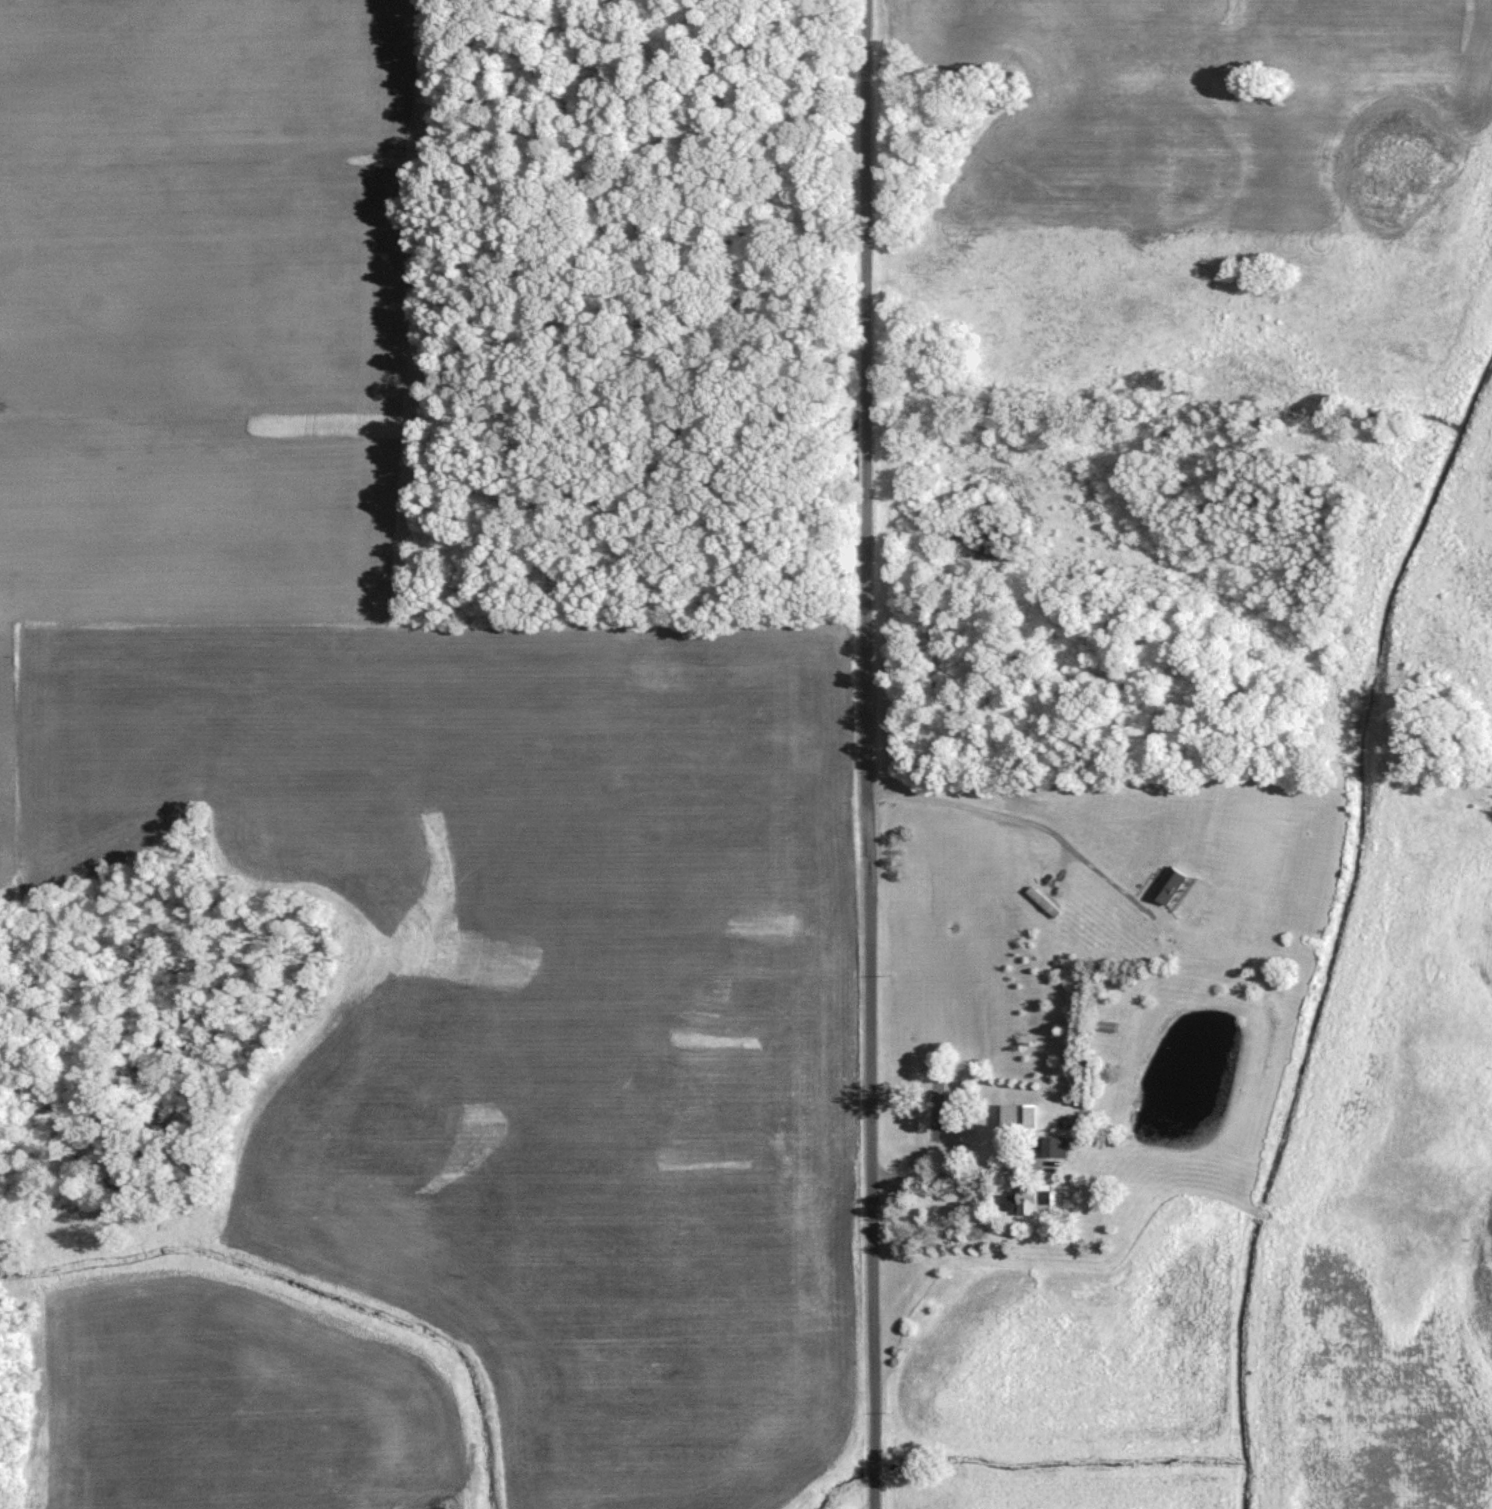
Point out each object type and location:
road: (865, 754)
road: (1011, 819)
road: (1064, 866)
building: (1168, 883)
building: (1053, 1143)
road: (951, 1171)
building: (1023, 1197)

